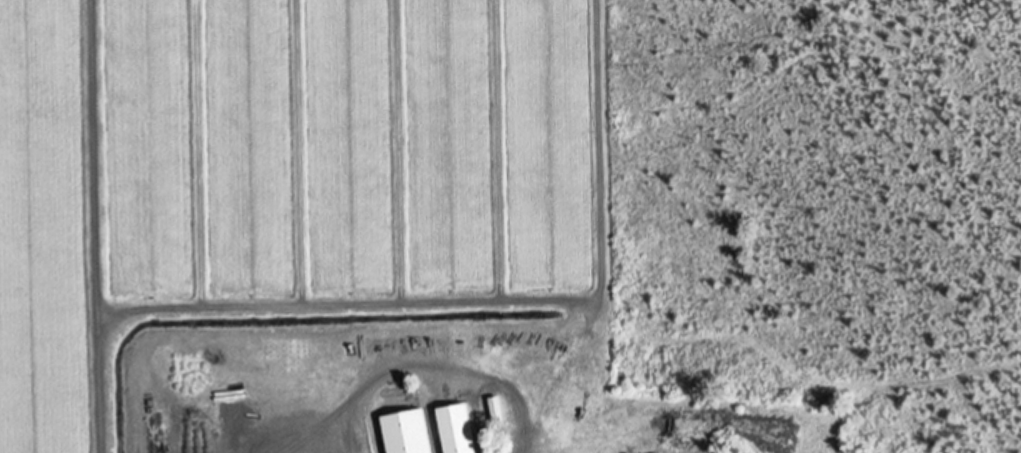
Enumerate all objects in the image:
crop: (288, 177)
building: (494, 411)
building: (454, 429)
building: (404, 432)

